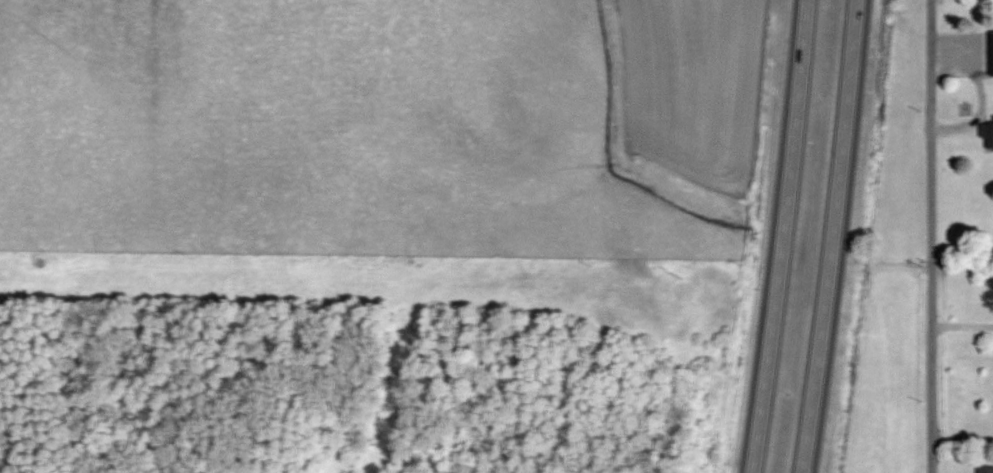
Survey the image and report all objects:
building: (989, 53)
building: (985, 135)
road: (777, 236)
road: (928, 236)
road: (833, 237)
road: (960, 323)
road: (960, 437)
building: (983, 469)

